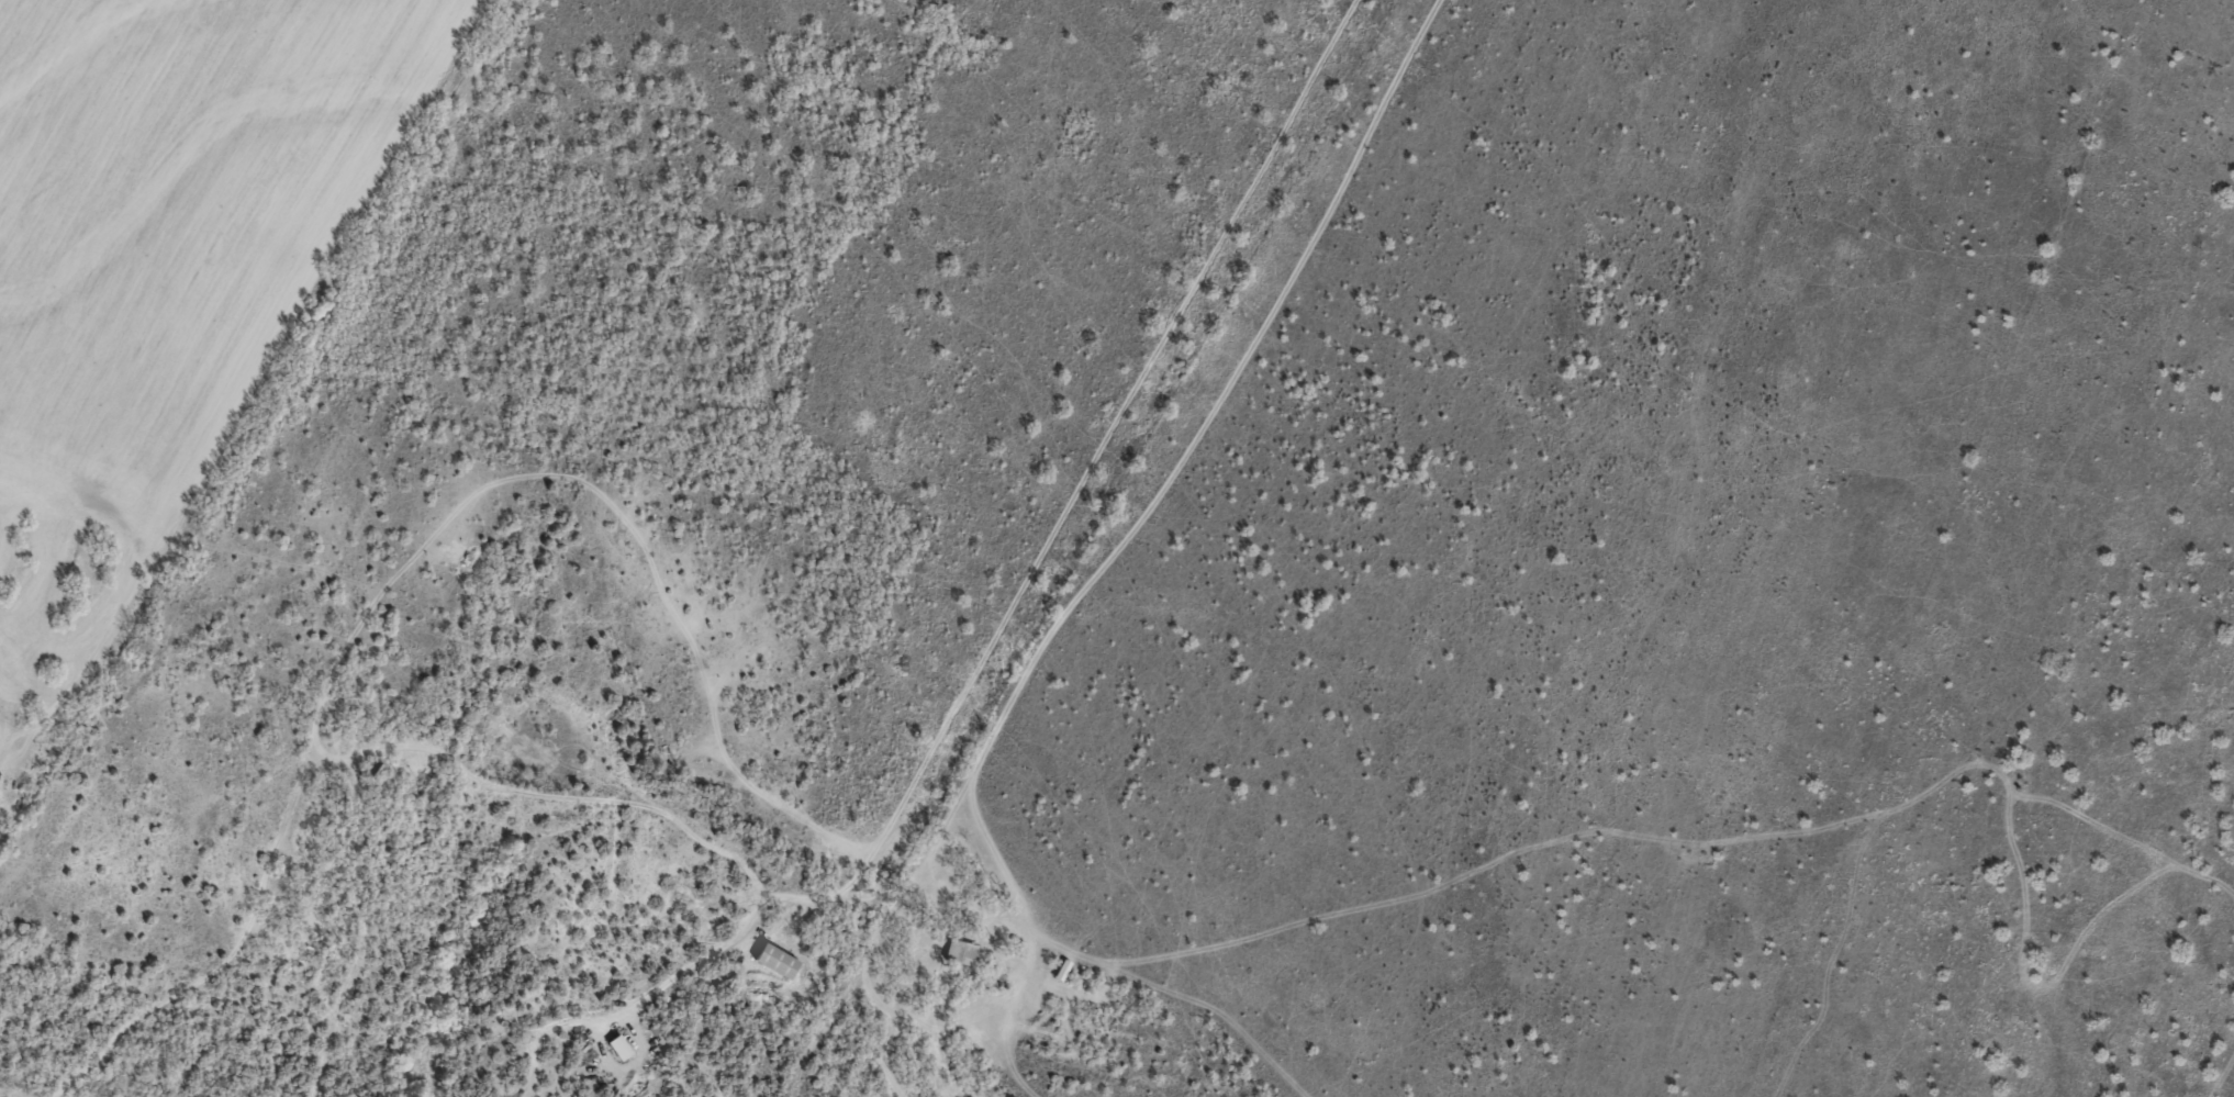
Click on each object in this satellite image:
road: (873, 875)
building: (963, 952)
building: (781, 961)
road: (925, 998)
building: (624, 1048)

